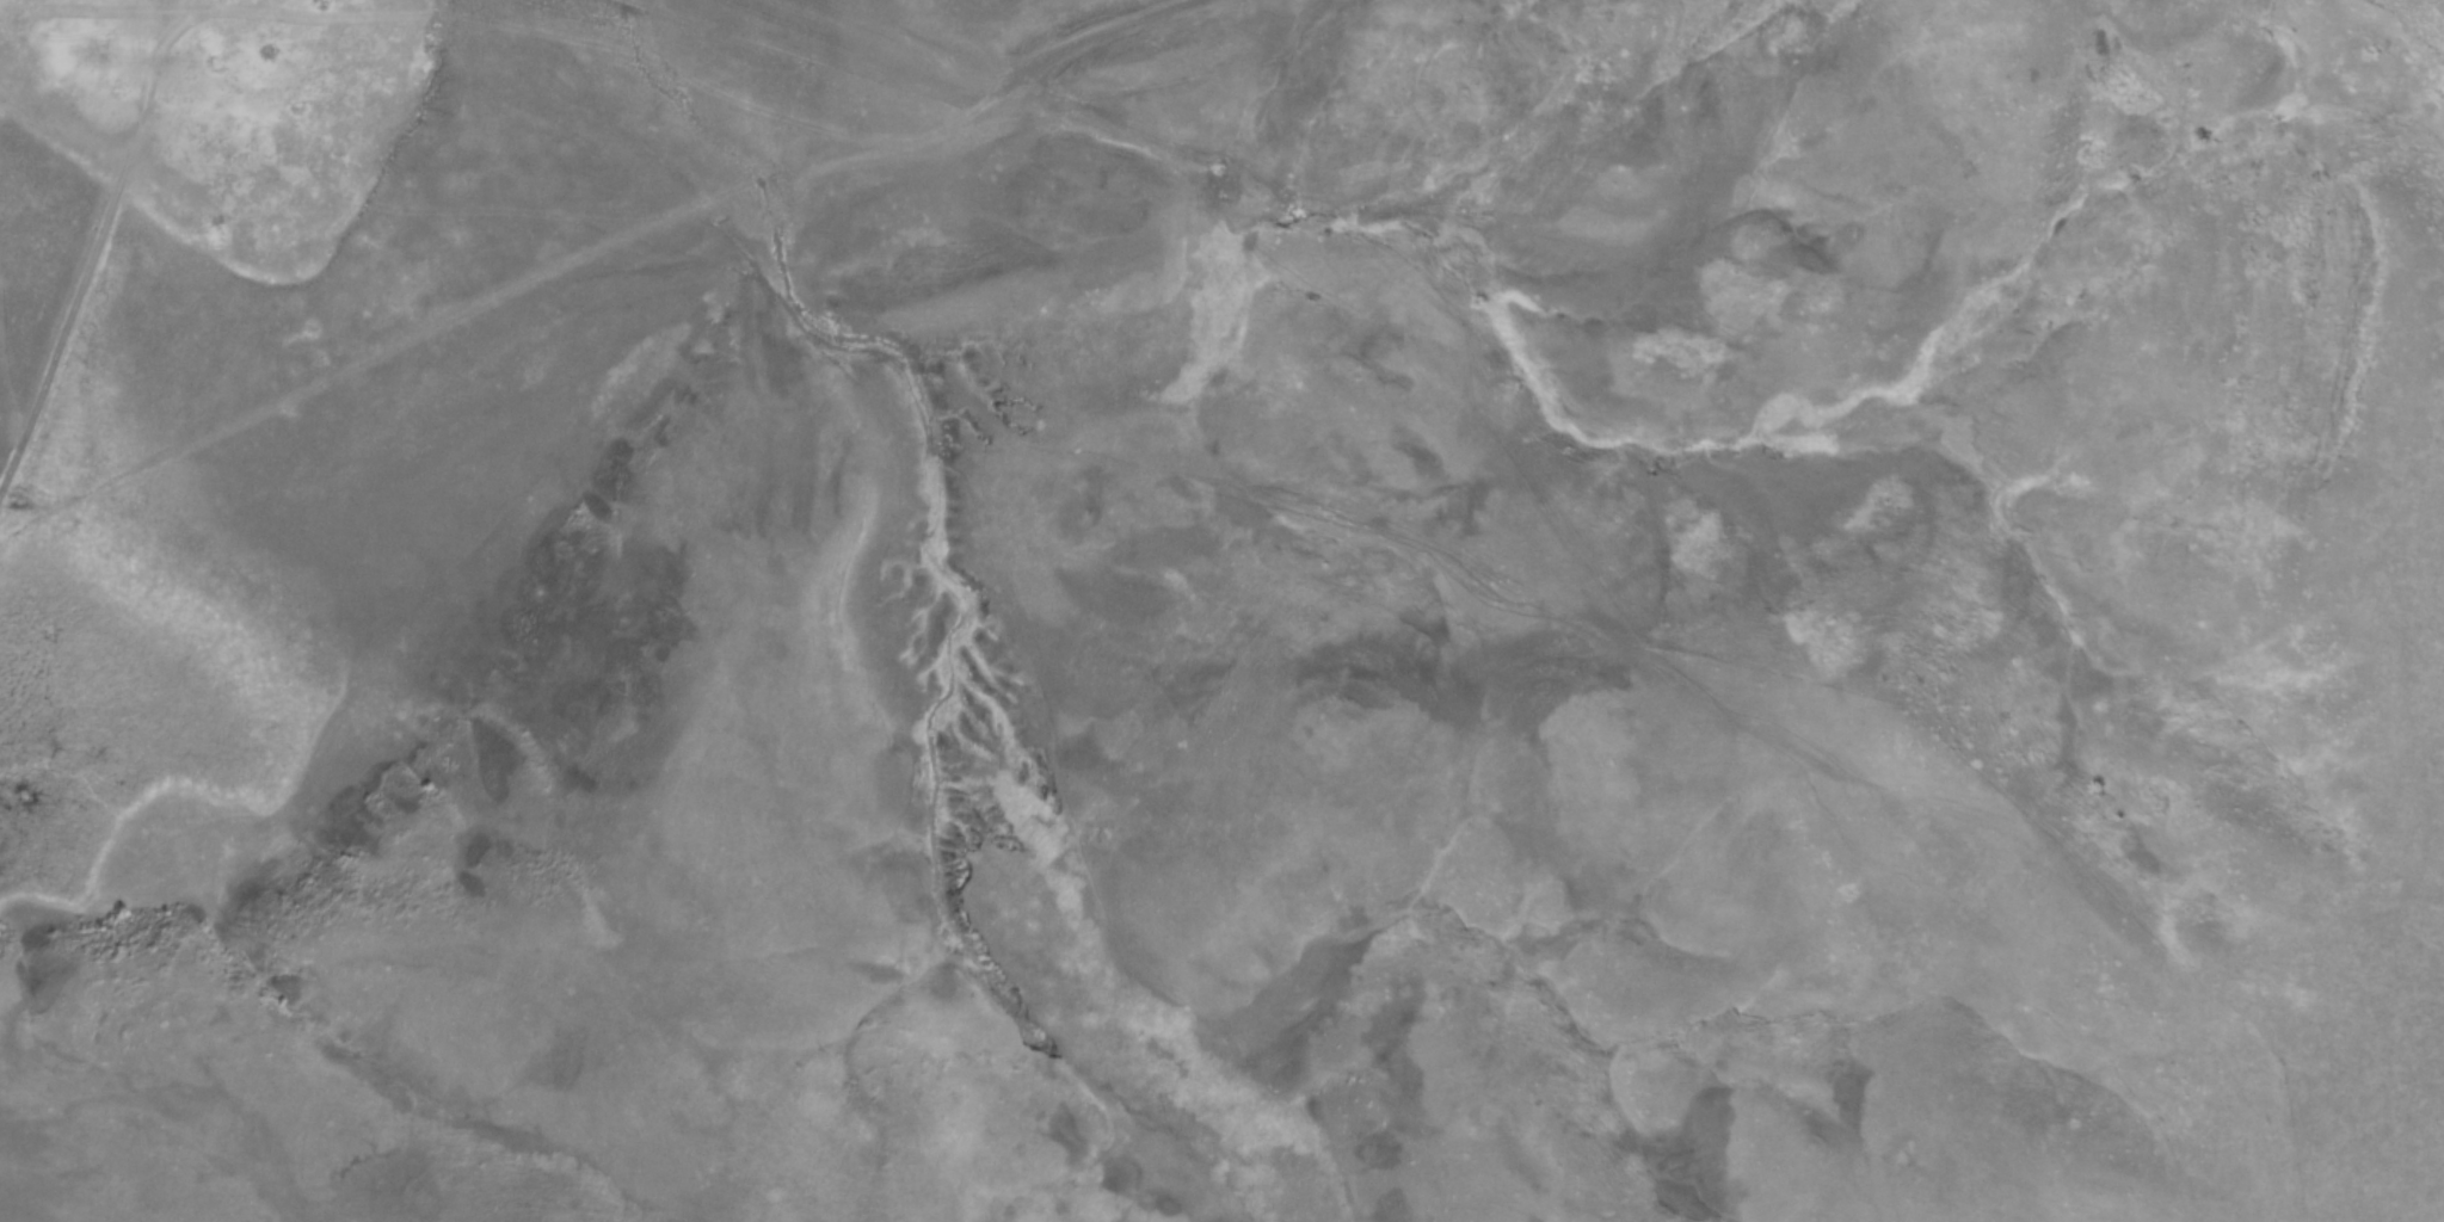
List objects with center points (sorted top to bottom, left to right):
road: (63, 325)

